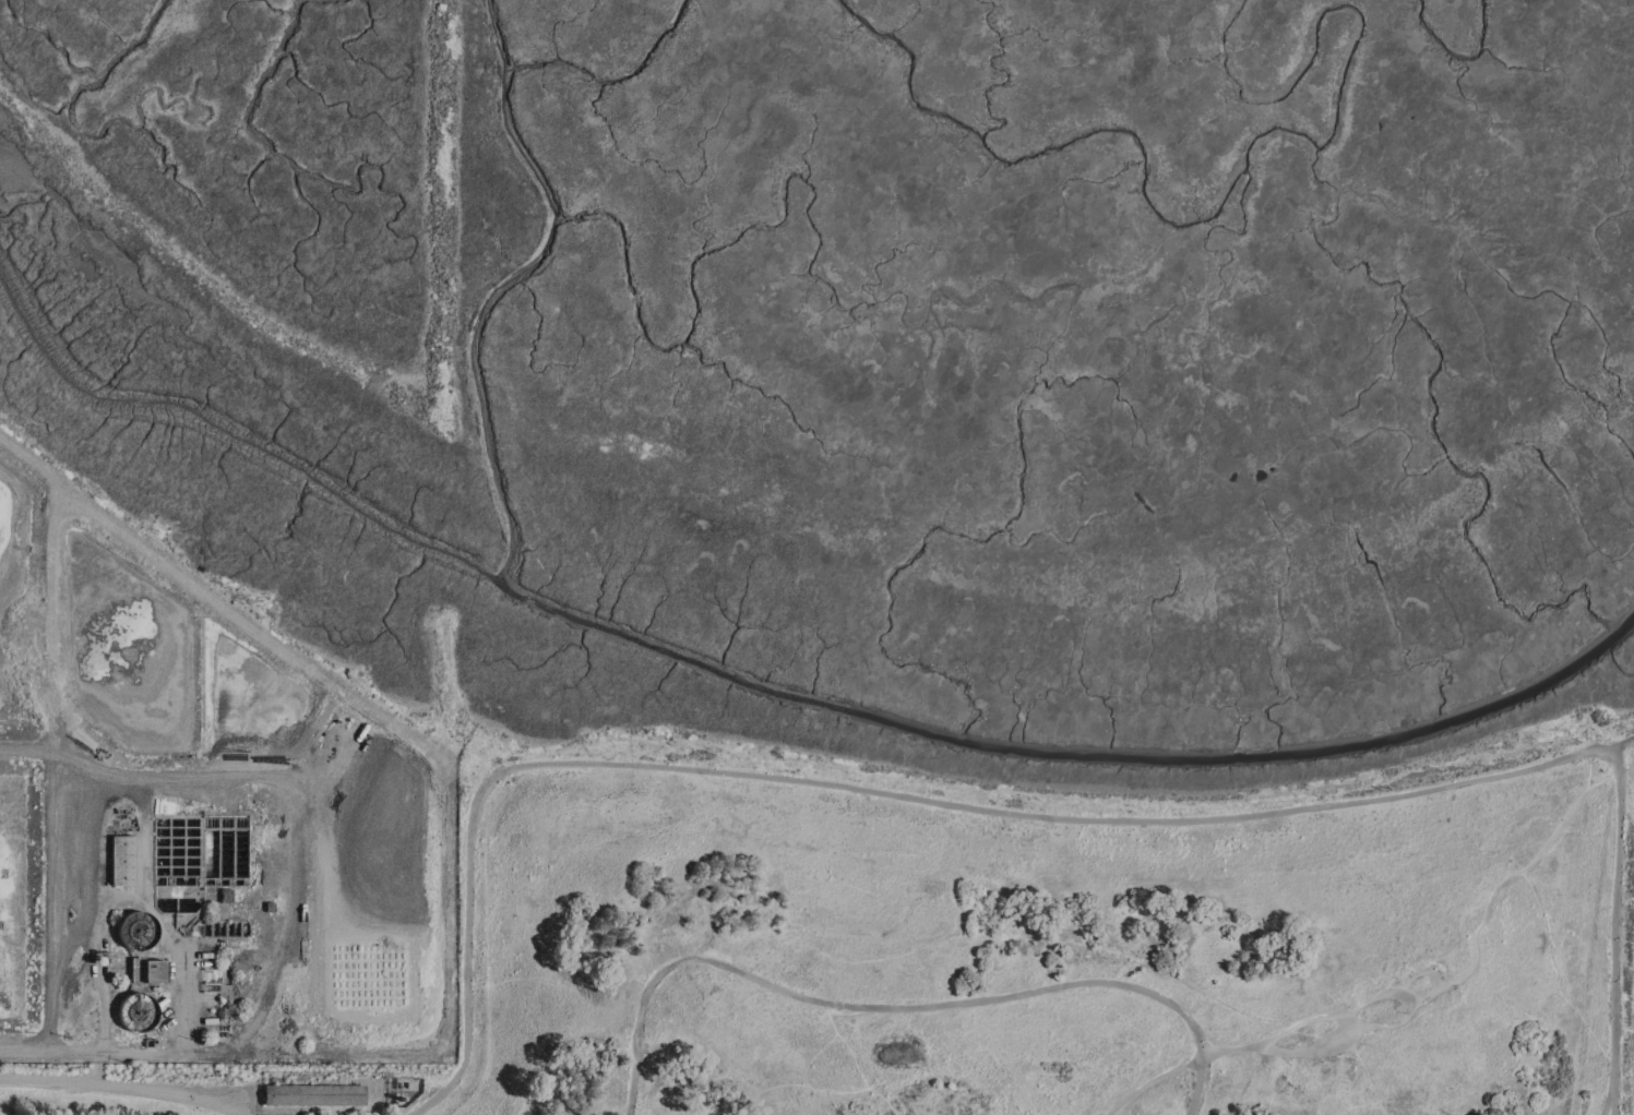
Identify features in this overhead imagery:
road: (1621, 743)
road: (1587, 769)
road: (107, 779)
road: (874, 793)
road: (1563, 818)
building: (121, 862)
road: (49, 882)
road: (96, 923)
road: (1615, 932)
road: (1474, 944)
park: (998, 947)
building: (140, 948)
road: (65, 949)
road: (179, 971)
road: (1402, 996)
road: (899, 1009)
road: (1352, 1010)
building: (136, 1014)
road: (1348, 1023)
road: (102, 1055)
road: (852, 1063)
road: (1152, 1081)
road: (126, 1090)
building: (312, 1095)
road: (1607, 1098)
road: (180, 1101)
road: (1104, 1110)

